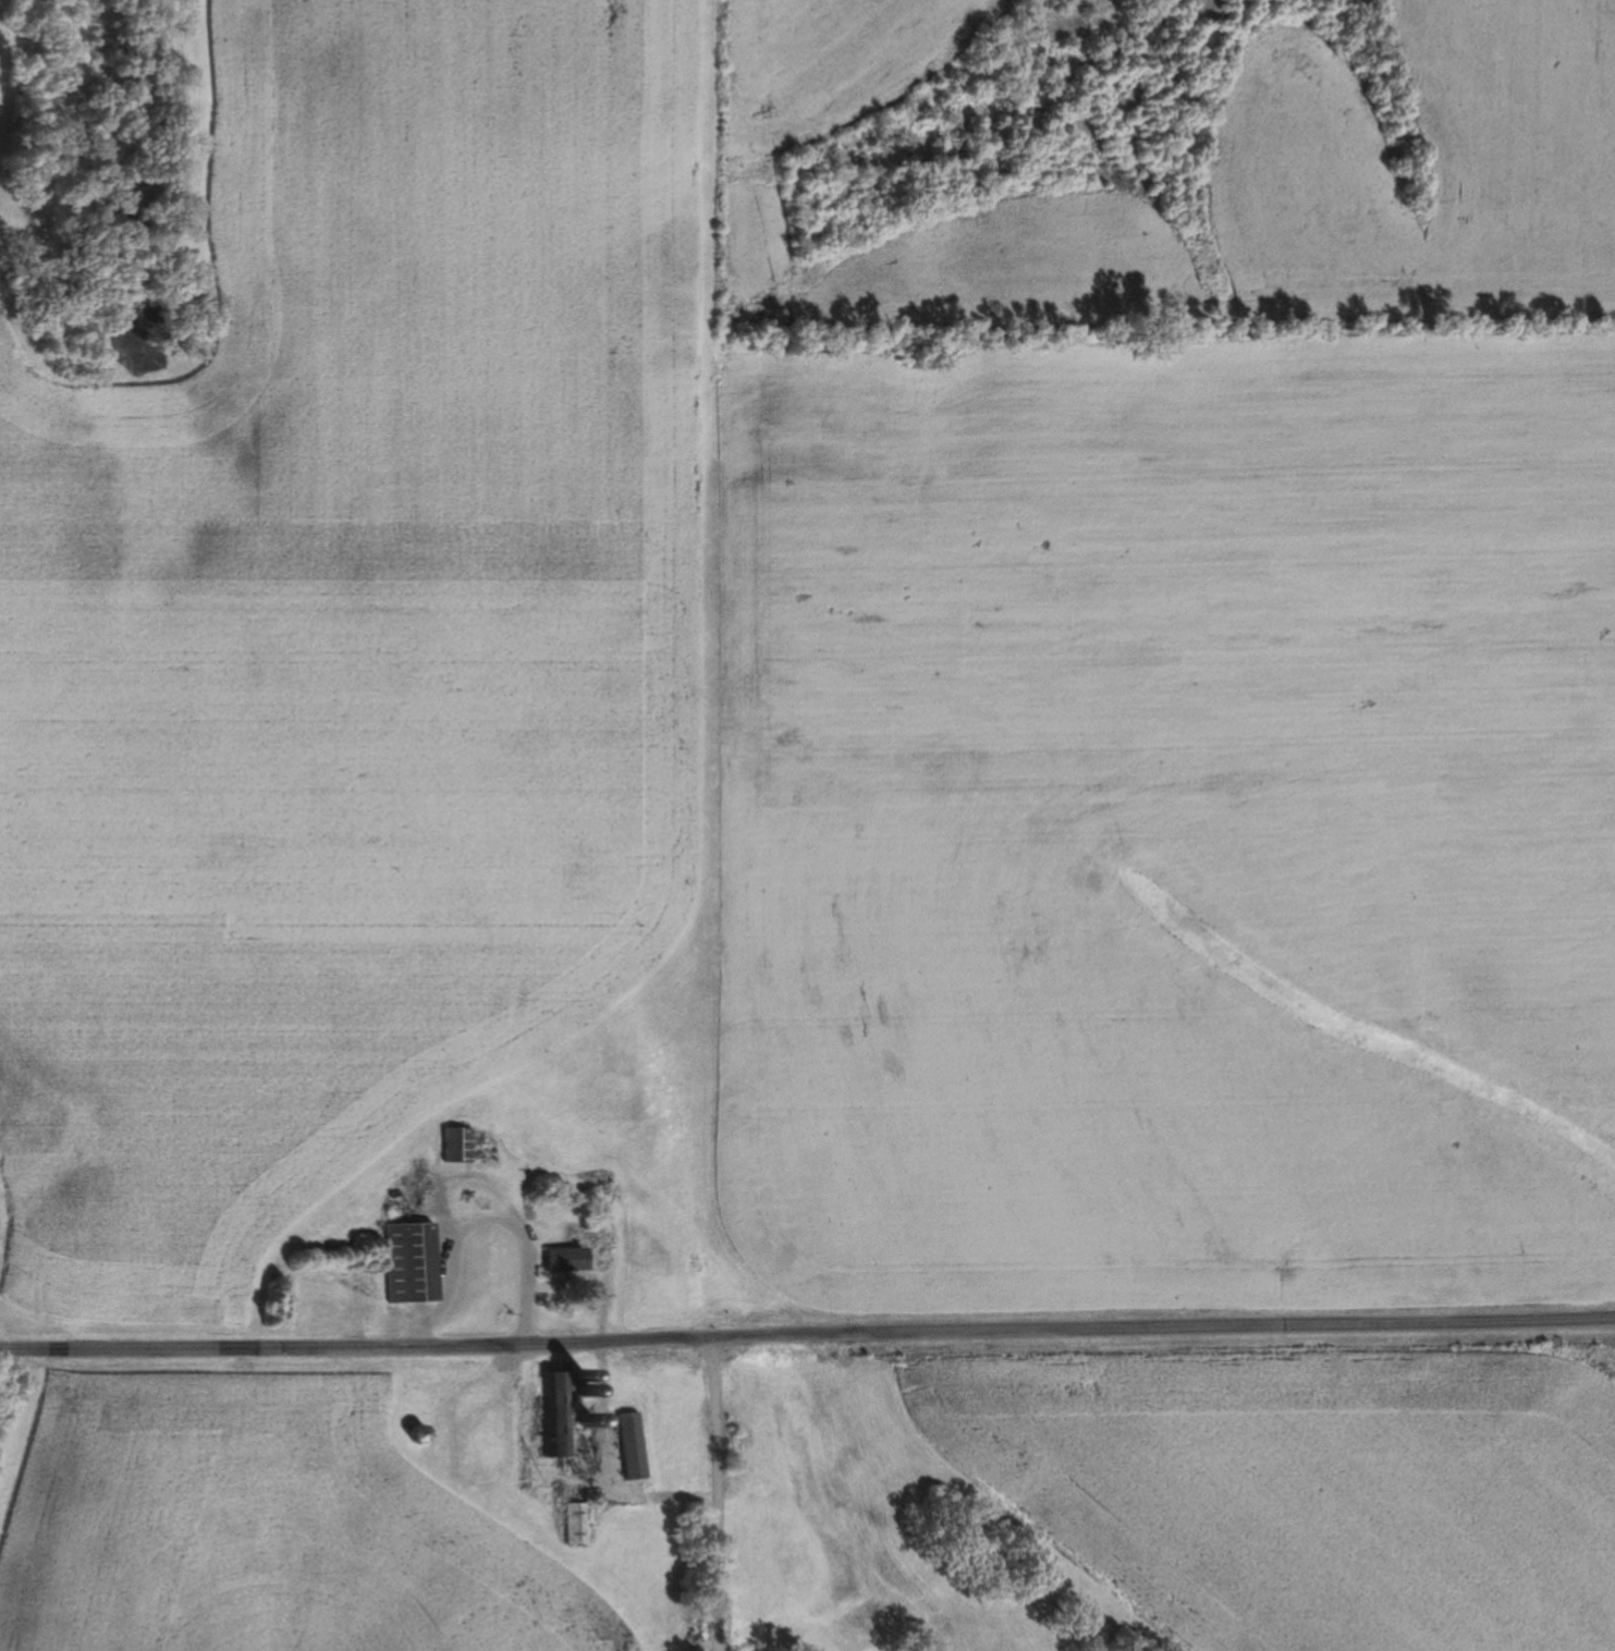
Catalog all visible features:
building: (458, 1146)
building: (566, 1259)
building: (412, 1263)
road: (807, 1332)
building: (558, 1417)
building: (419, 1434)
building: (632, 1446)
road: (717, 1492)
building: (577, 1524)

